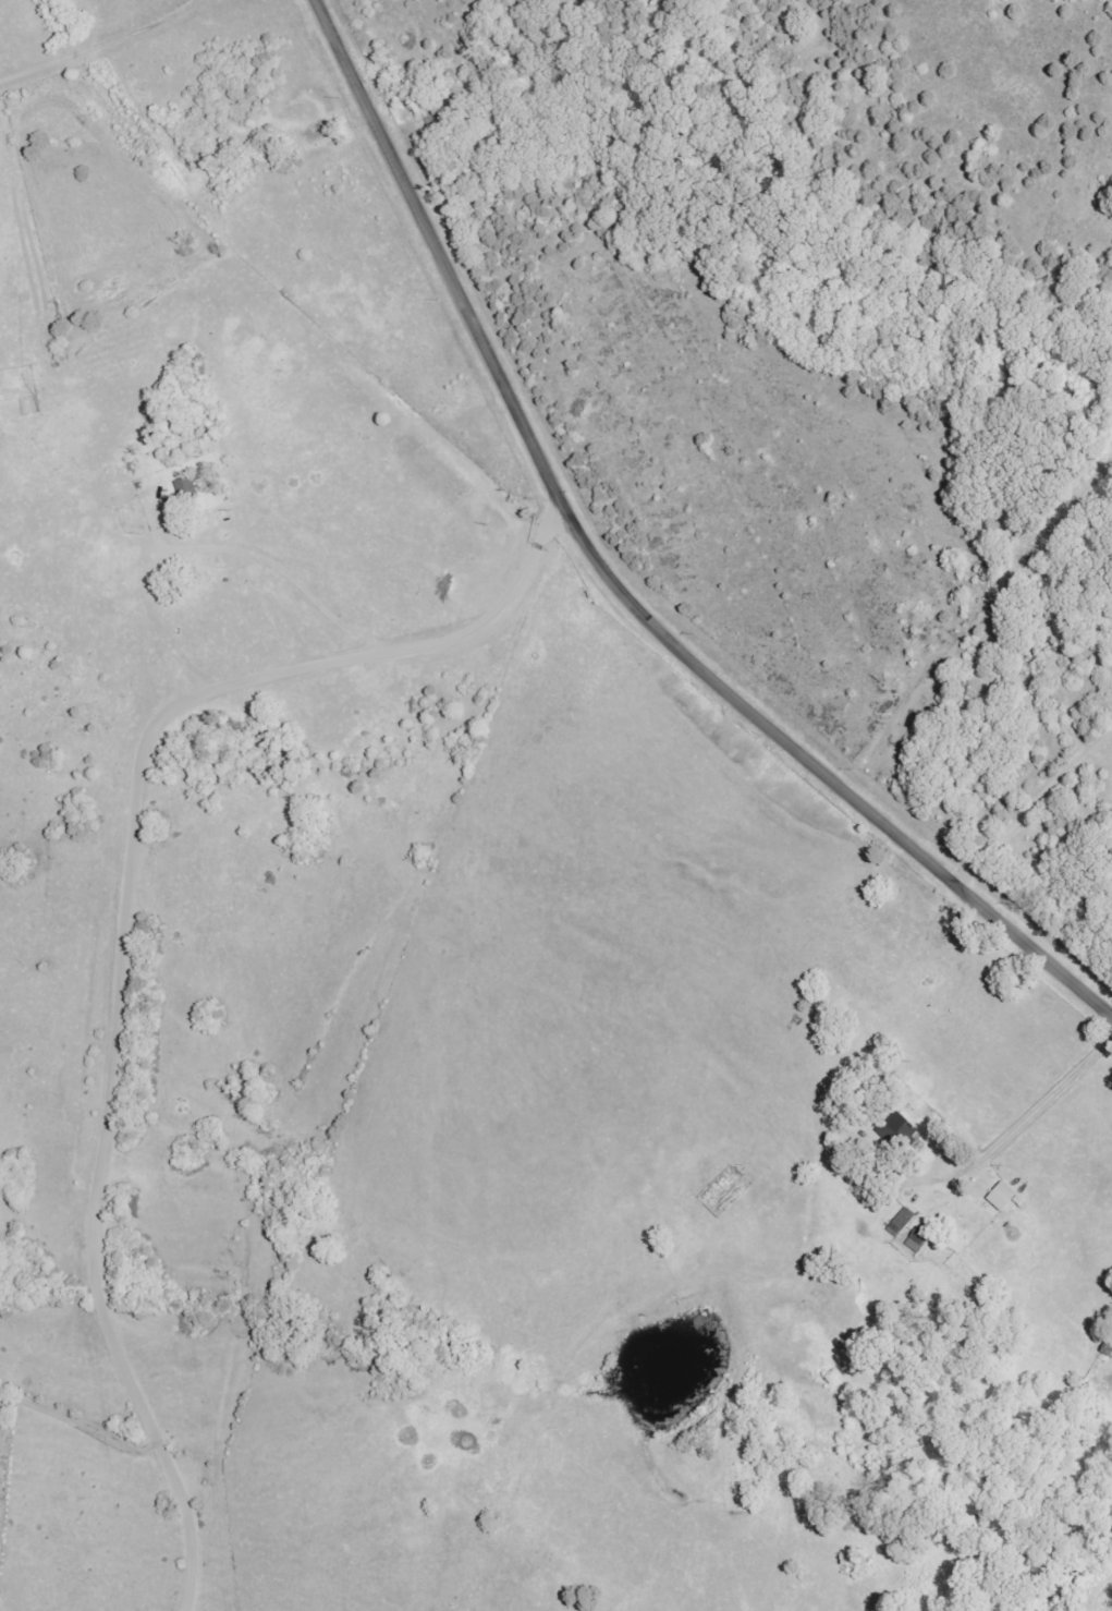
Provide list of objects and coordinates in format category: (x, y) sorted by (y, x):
building: (187, 489)
road: (615, 582)
road: (1027, 799)
road: (124, 924)
road: (1039, 1098)
building: (896, 1129)
building: (1002, 1197)
building: (902, 1221)
building: (917, 1239)
road: (76, 1414)

